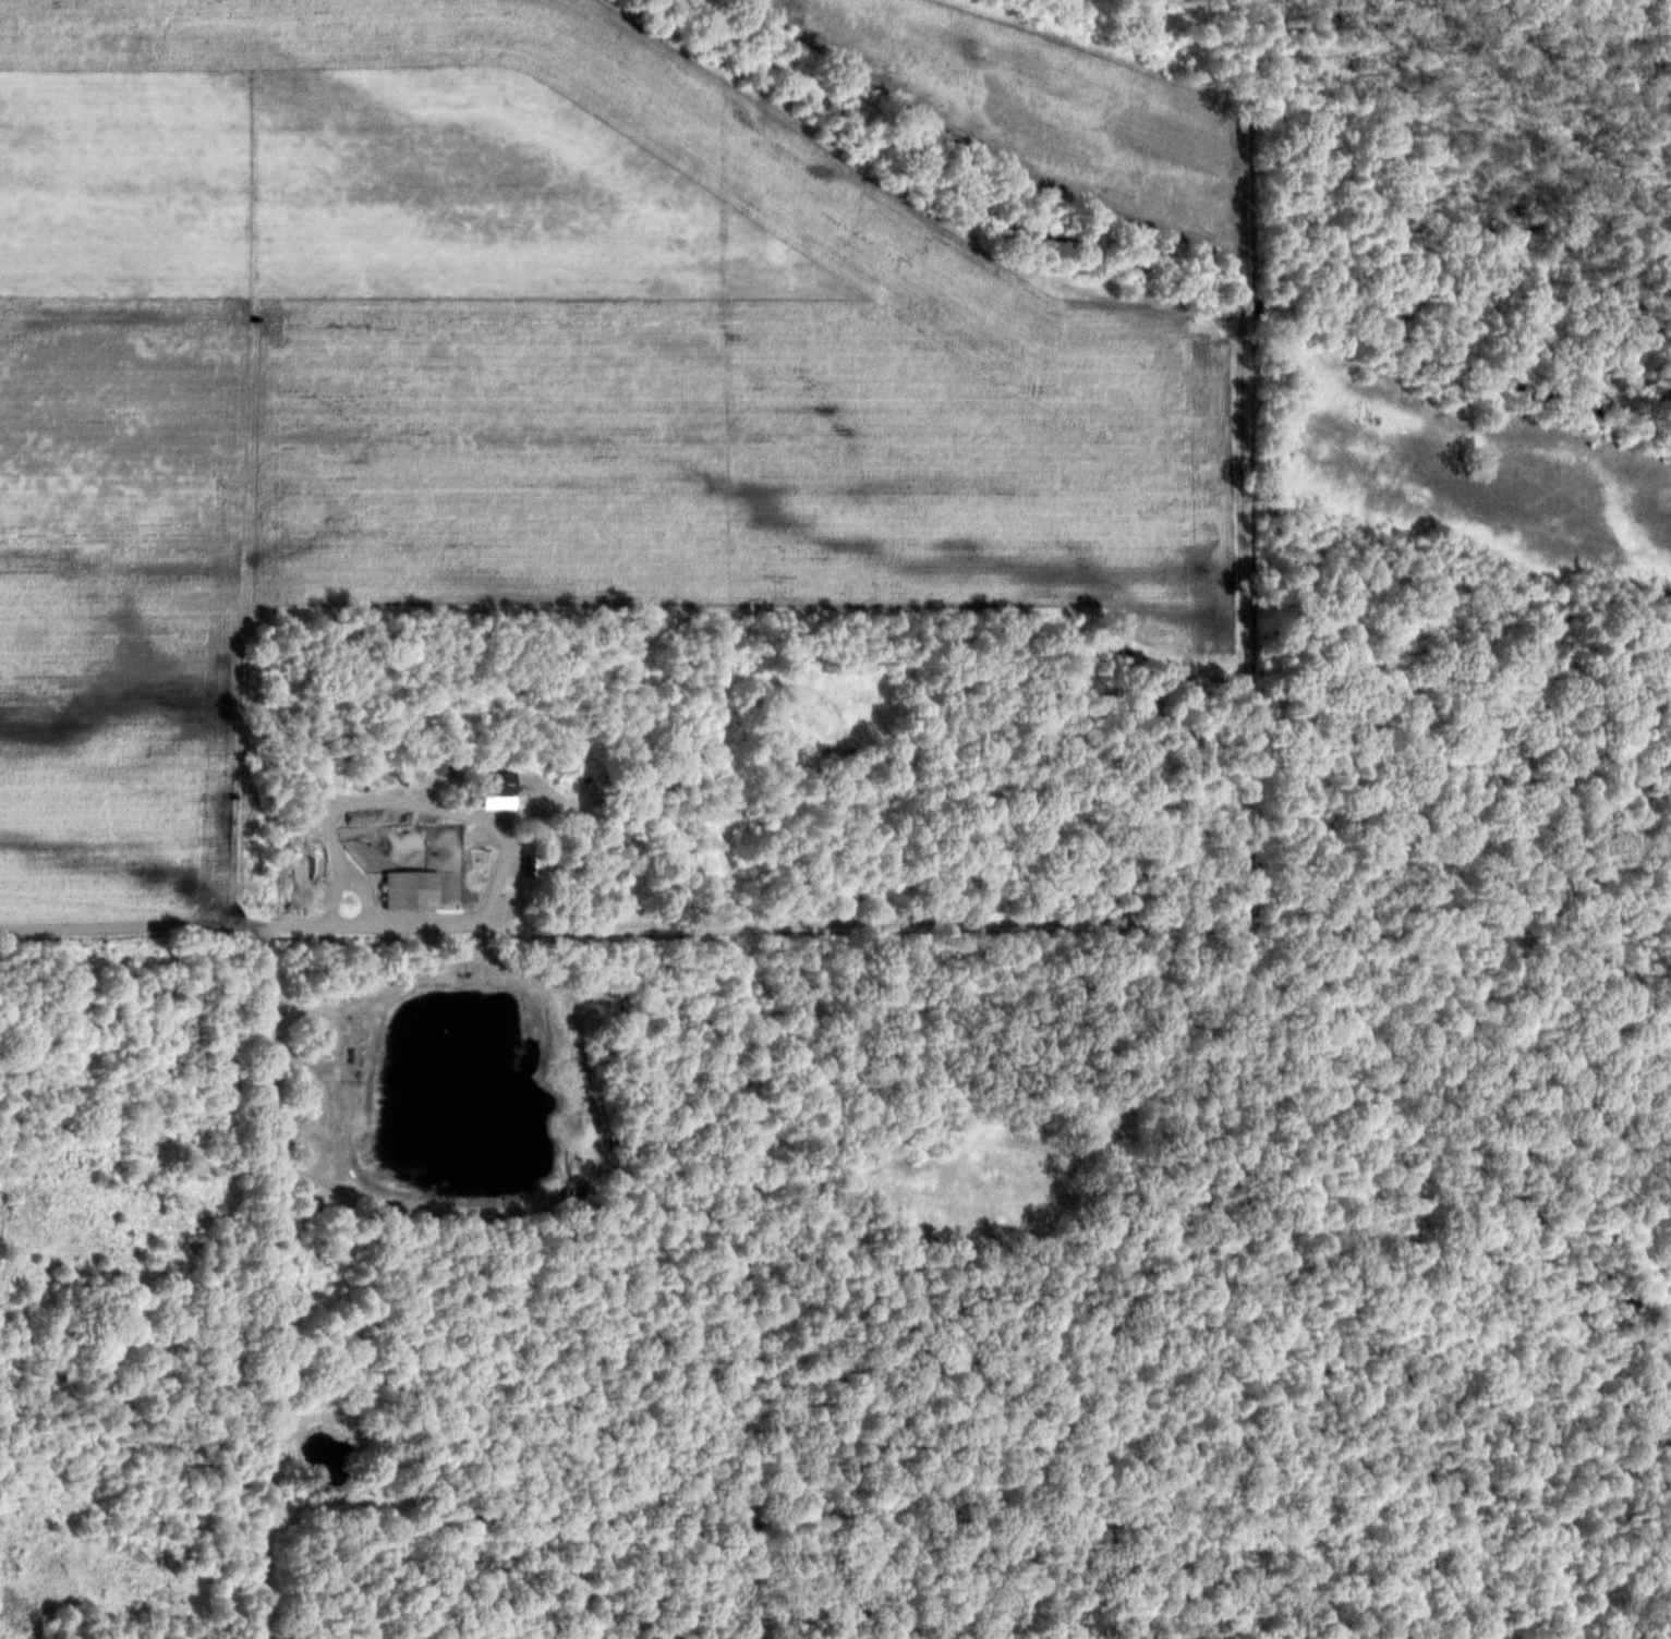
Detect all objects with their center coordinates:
building: (413, 890)

